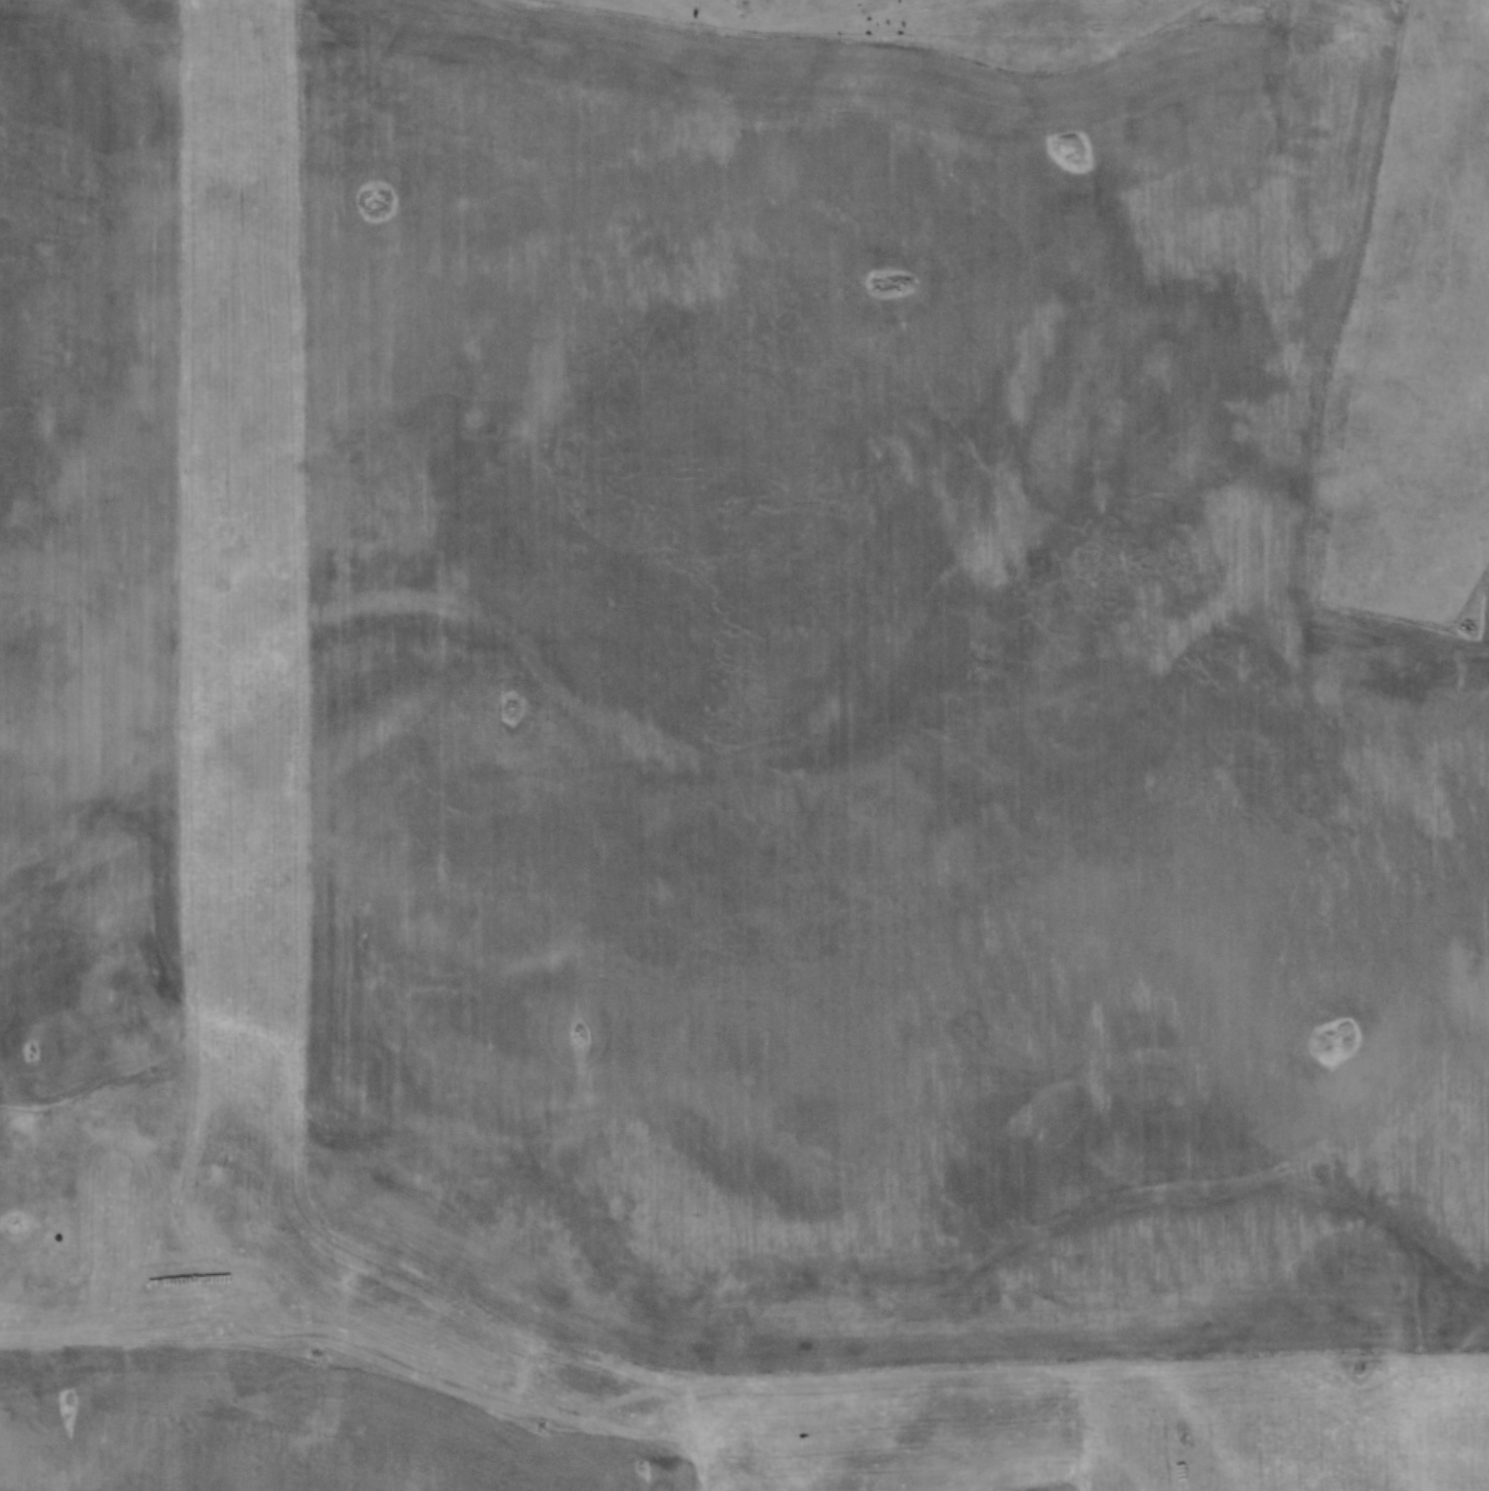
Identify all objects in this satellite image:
road: (735, 1386)

